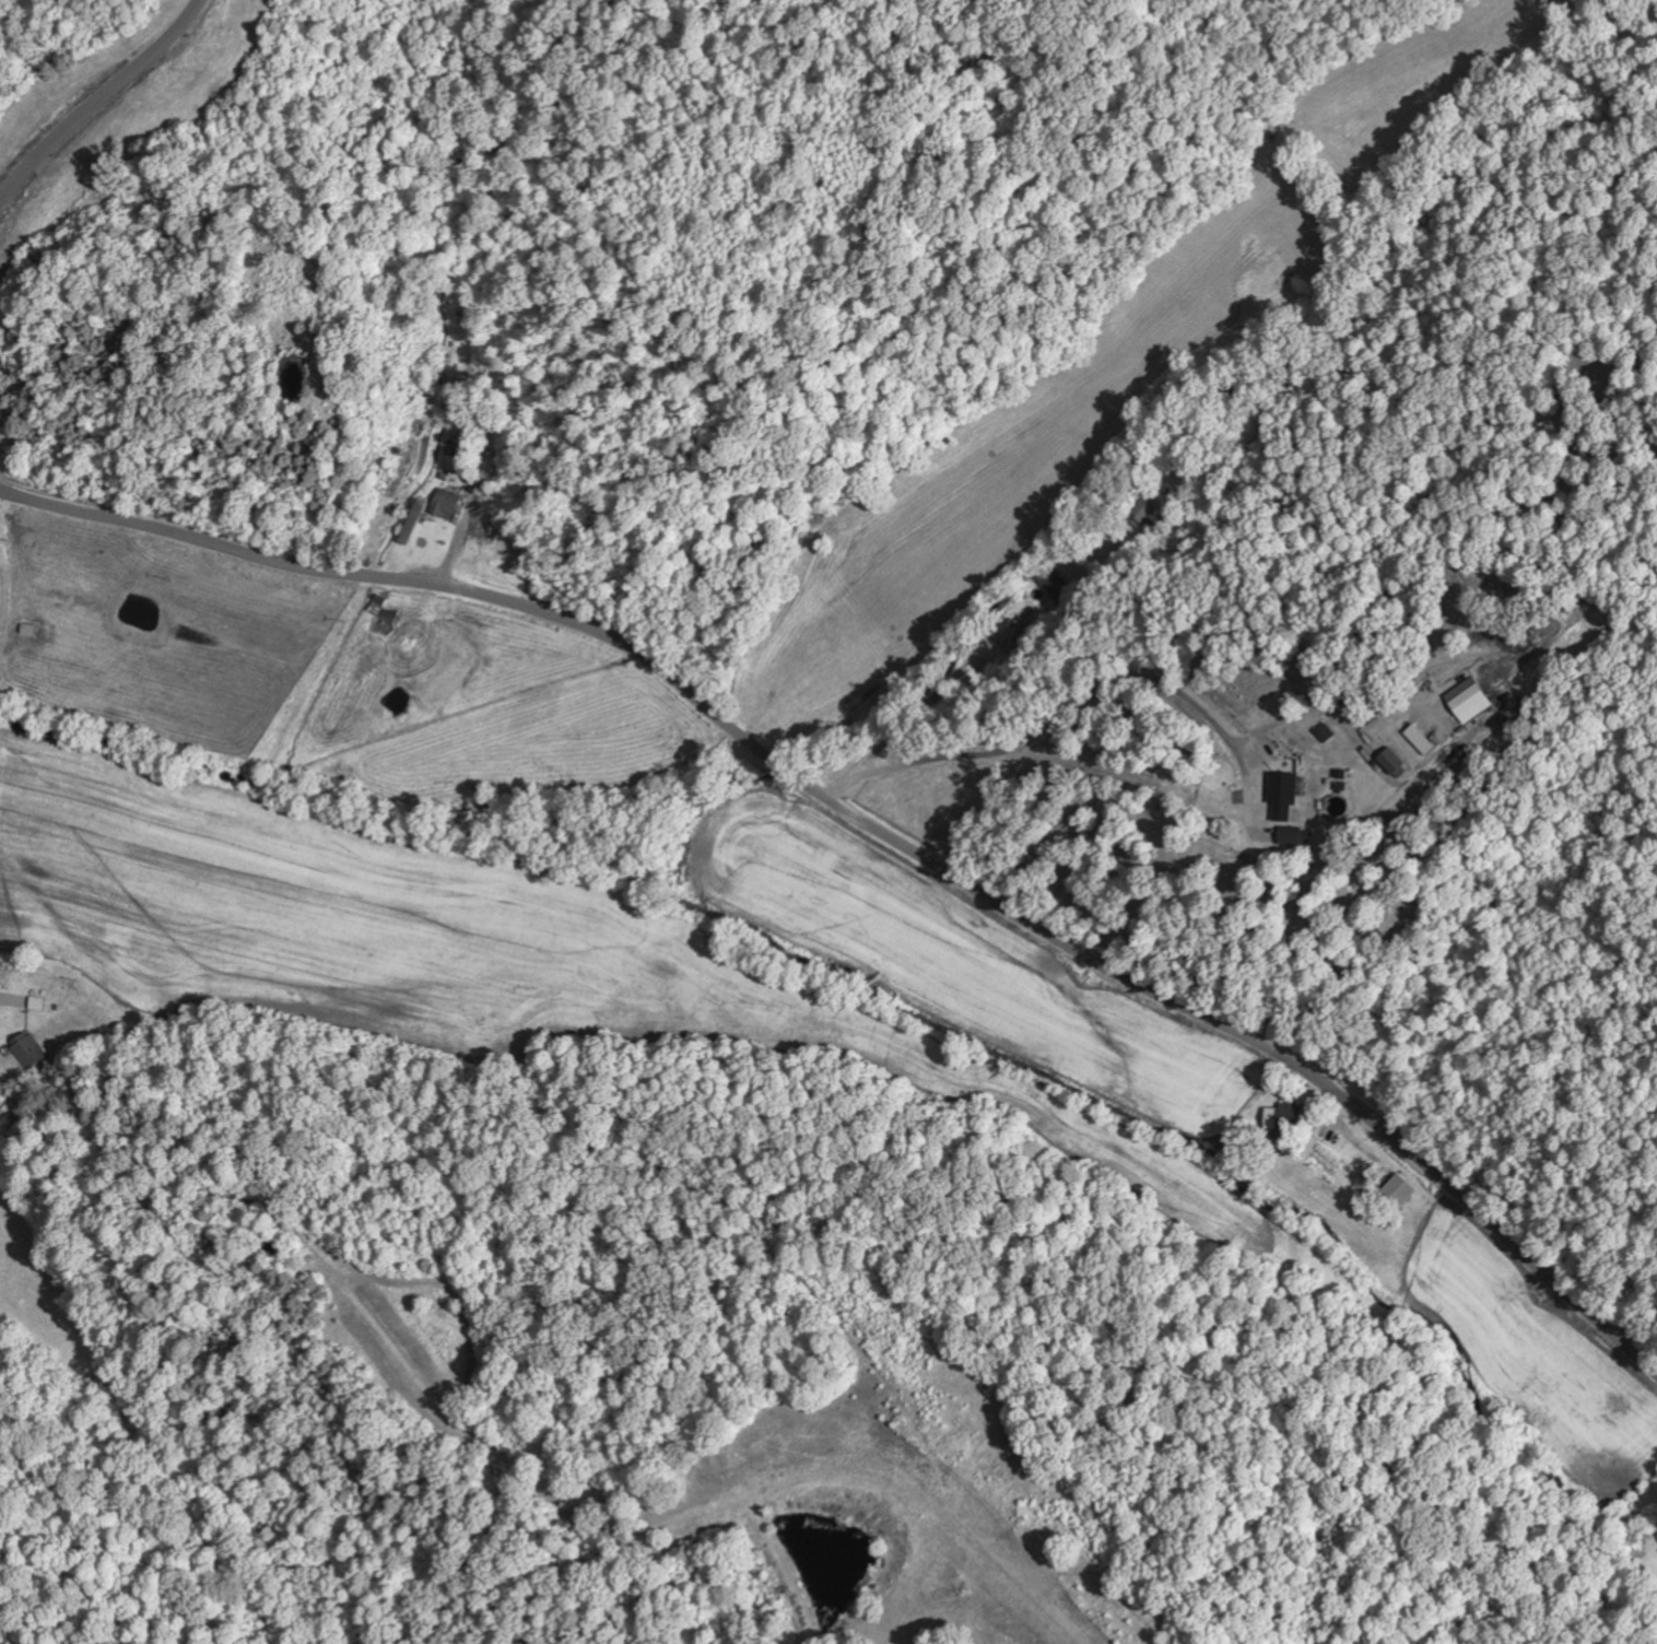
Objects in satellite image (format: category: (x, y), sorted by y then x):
road: (115, 95)
building: (444, 503)
building: (1468, 698)
building: (1284, 791)
road: (877, 830)
building: (28, 1052)
building: (1282, 1116)
building: (1394, 1193)

